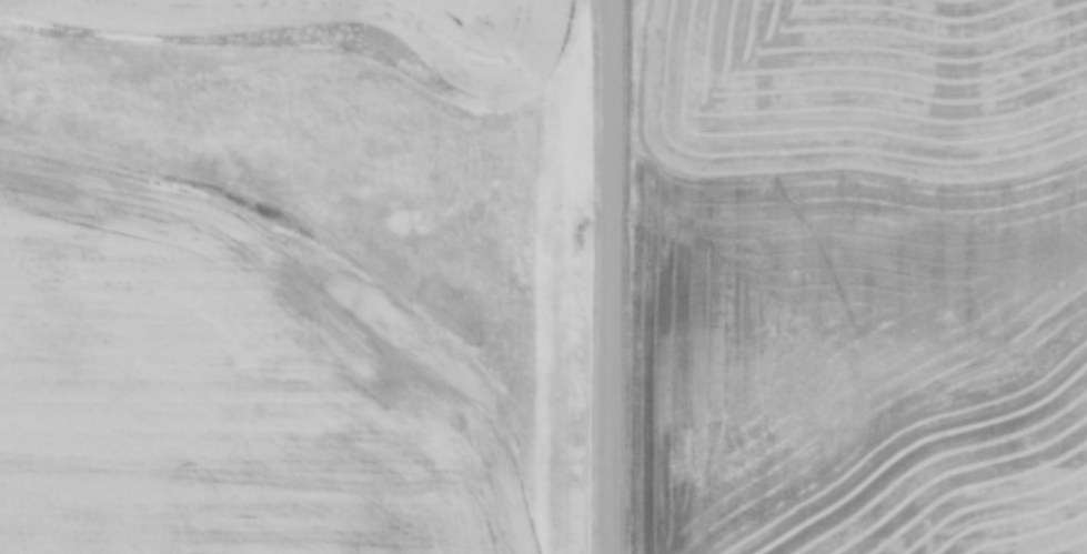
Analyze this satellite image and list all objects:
road: (612, 276)

